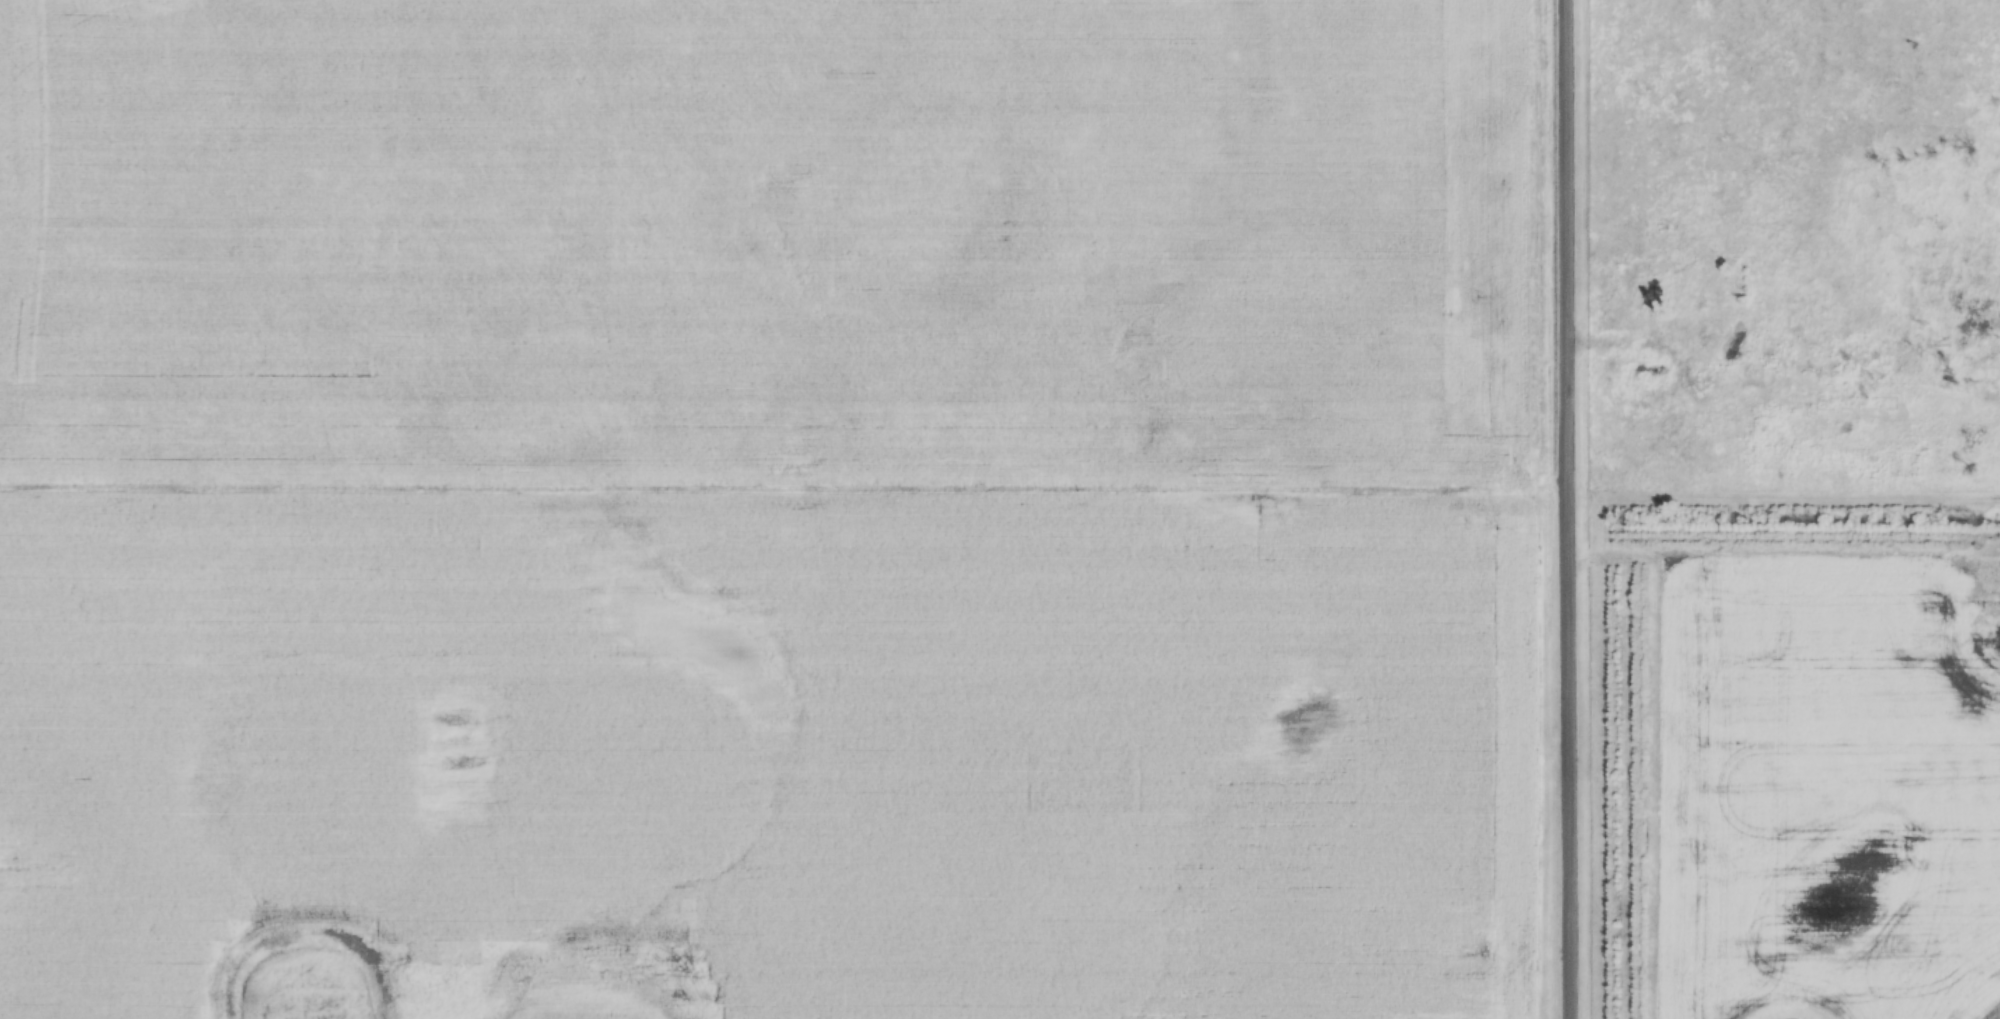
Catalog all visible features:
road: (1570, 509)

